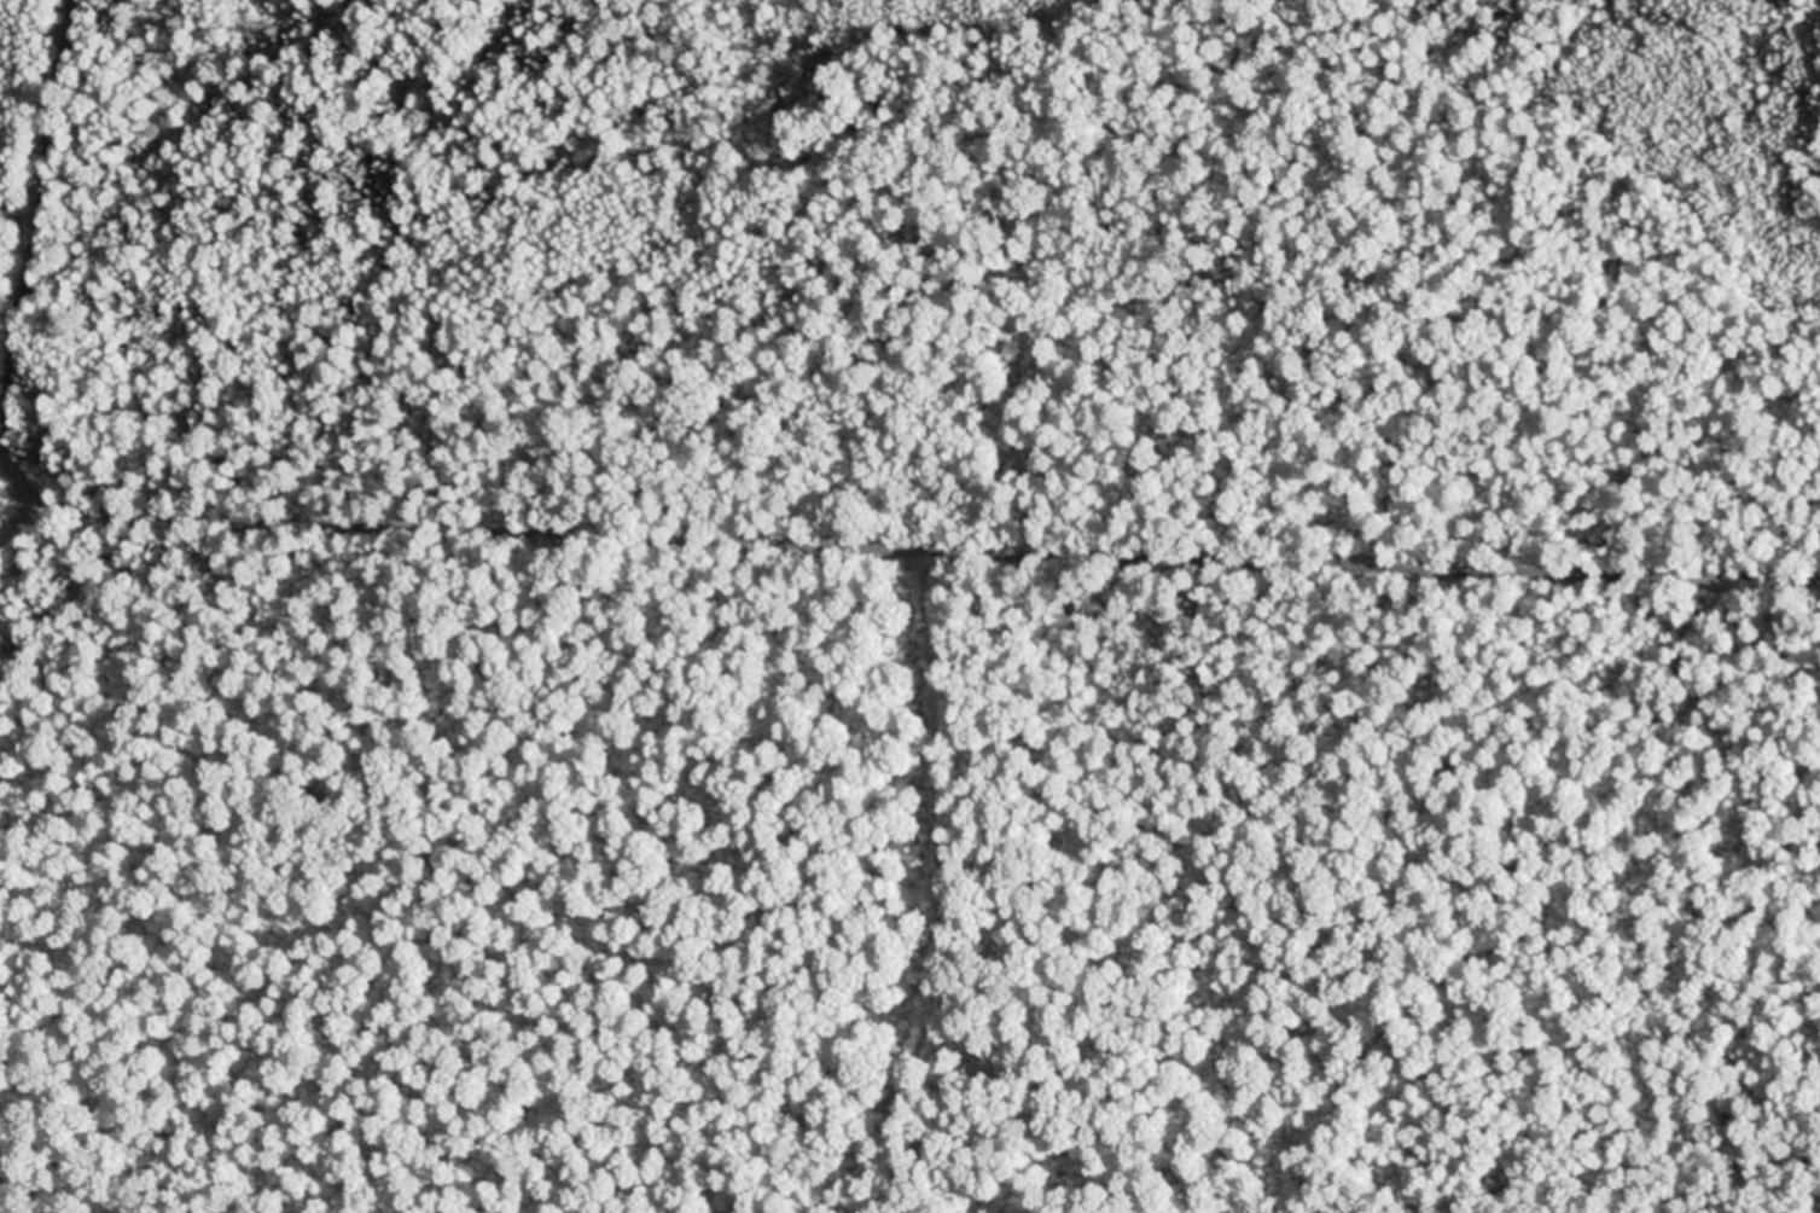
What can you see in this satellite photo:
road: (664, 536)

